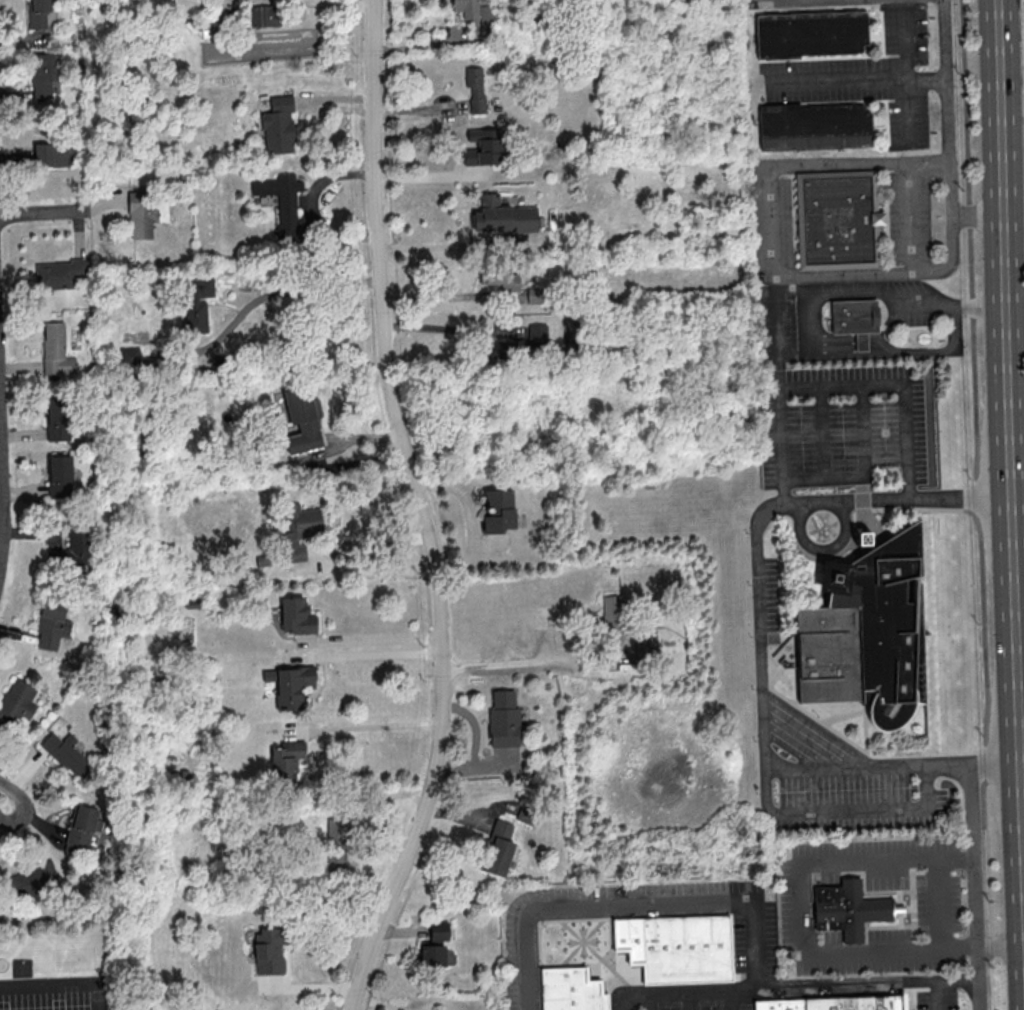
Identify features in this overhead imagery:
road: (788, 1)
building: (37, 13)
building: (475, 15)
building: (811, 34)
road: (904, 42)
building: (44, 73)
parking lot: (871, 77)
road: (926, 77)
road: (836, 81)
building: (475, 88)
road: (907, 112)
building: (278, 125)
building: (815, 127)
road: (947, 134)
building: (482, 146)
building: (55, 154)
road: (427, 172)
building: (282, 203)
road: (45, 213)
building: (144, 213)
parking lot: (910, 214)
building: (502, 216)
road: (911, 217)
building: (837, 218)
road: (453, 242)
road: (769, 244)
building: (61, 274)
building: (500, 276)
road: (308, 290)
building: (197, 302)
road: (1016, 310)
road: (777, 315)
road: (808, 315)
building: (854, 318)
road: (441, 327)
building: (537, 335)
building: (55, 349)
building: (500, 349)
building: (129, 357)
road: (778, 410)
road: (1011, 410)
building: (57, 418)
building: (301, 419)
parking lot: (839, 424)
road: (821, 433)
building: (59, 476)
road: (3, 483)
road: (907, 489)
road: (781, 491)
road: (978, 505)
road: (928, 509)
building: (498, 510)
road: (423, 511)
road: (862, 511)
road: (760, 512)
building: (299, 528)
road: (369, 541)
road: (821, 549)
building: (72, 550)
parking lot: (764, 599)
building: (295, 615)
building: (612, 617)
building: (51, 625)
building: (866, 630)
road: (775, 632)
road: (372, 641)
road: (778, 654)
road: (369, 656)
road: (522, 663)
building: (289, 684)
road: (793, 700)
road: (804, 711)
road: (1022, 711)
road: (842, 716)
building: (503, 719)
road: (373, 726)
road: (864, 727)
road: (894, 729)
road: (804, 737)
building: (67, 753)
building: (286, 759)
road: (995, 759)
road: (948, 760)
parking lot: (836, 777)
road: (1, 802)
road: (769, 811)
building: (80, 827)
building: (336, 843)
building: (498, 848)
road: (955, 855)
building: (33, 879)
road: (972, 885)
road: (634, 903)
parking lot: (939, 907)
building: (852, 910)
road: (624, 915)
road: (533, 918)
road: (581, 940)
road: (609, 943)
parking lot: (752, 944)
building: (434, 945)
building: (675, 946)
road: (981, 948)
park: (580, 949)
building: (269, 950)
road: (802, 953)
road: (597, 955)
road: (574, 963)
road: (60, 986)
road: (792, 988)
building: (570, 989)
road: (935, 996)
road: (730, 1000)
parking lot: (935, 1000)
road: (686, 1001)
road: (648, 1002)
building: (834, 1003)
parking lot: (697, 1005)

